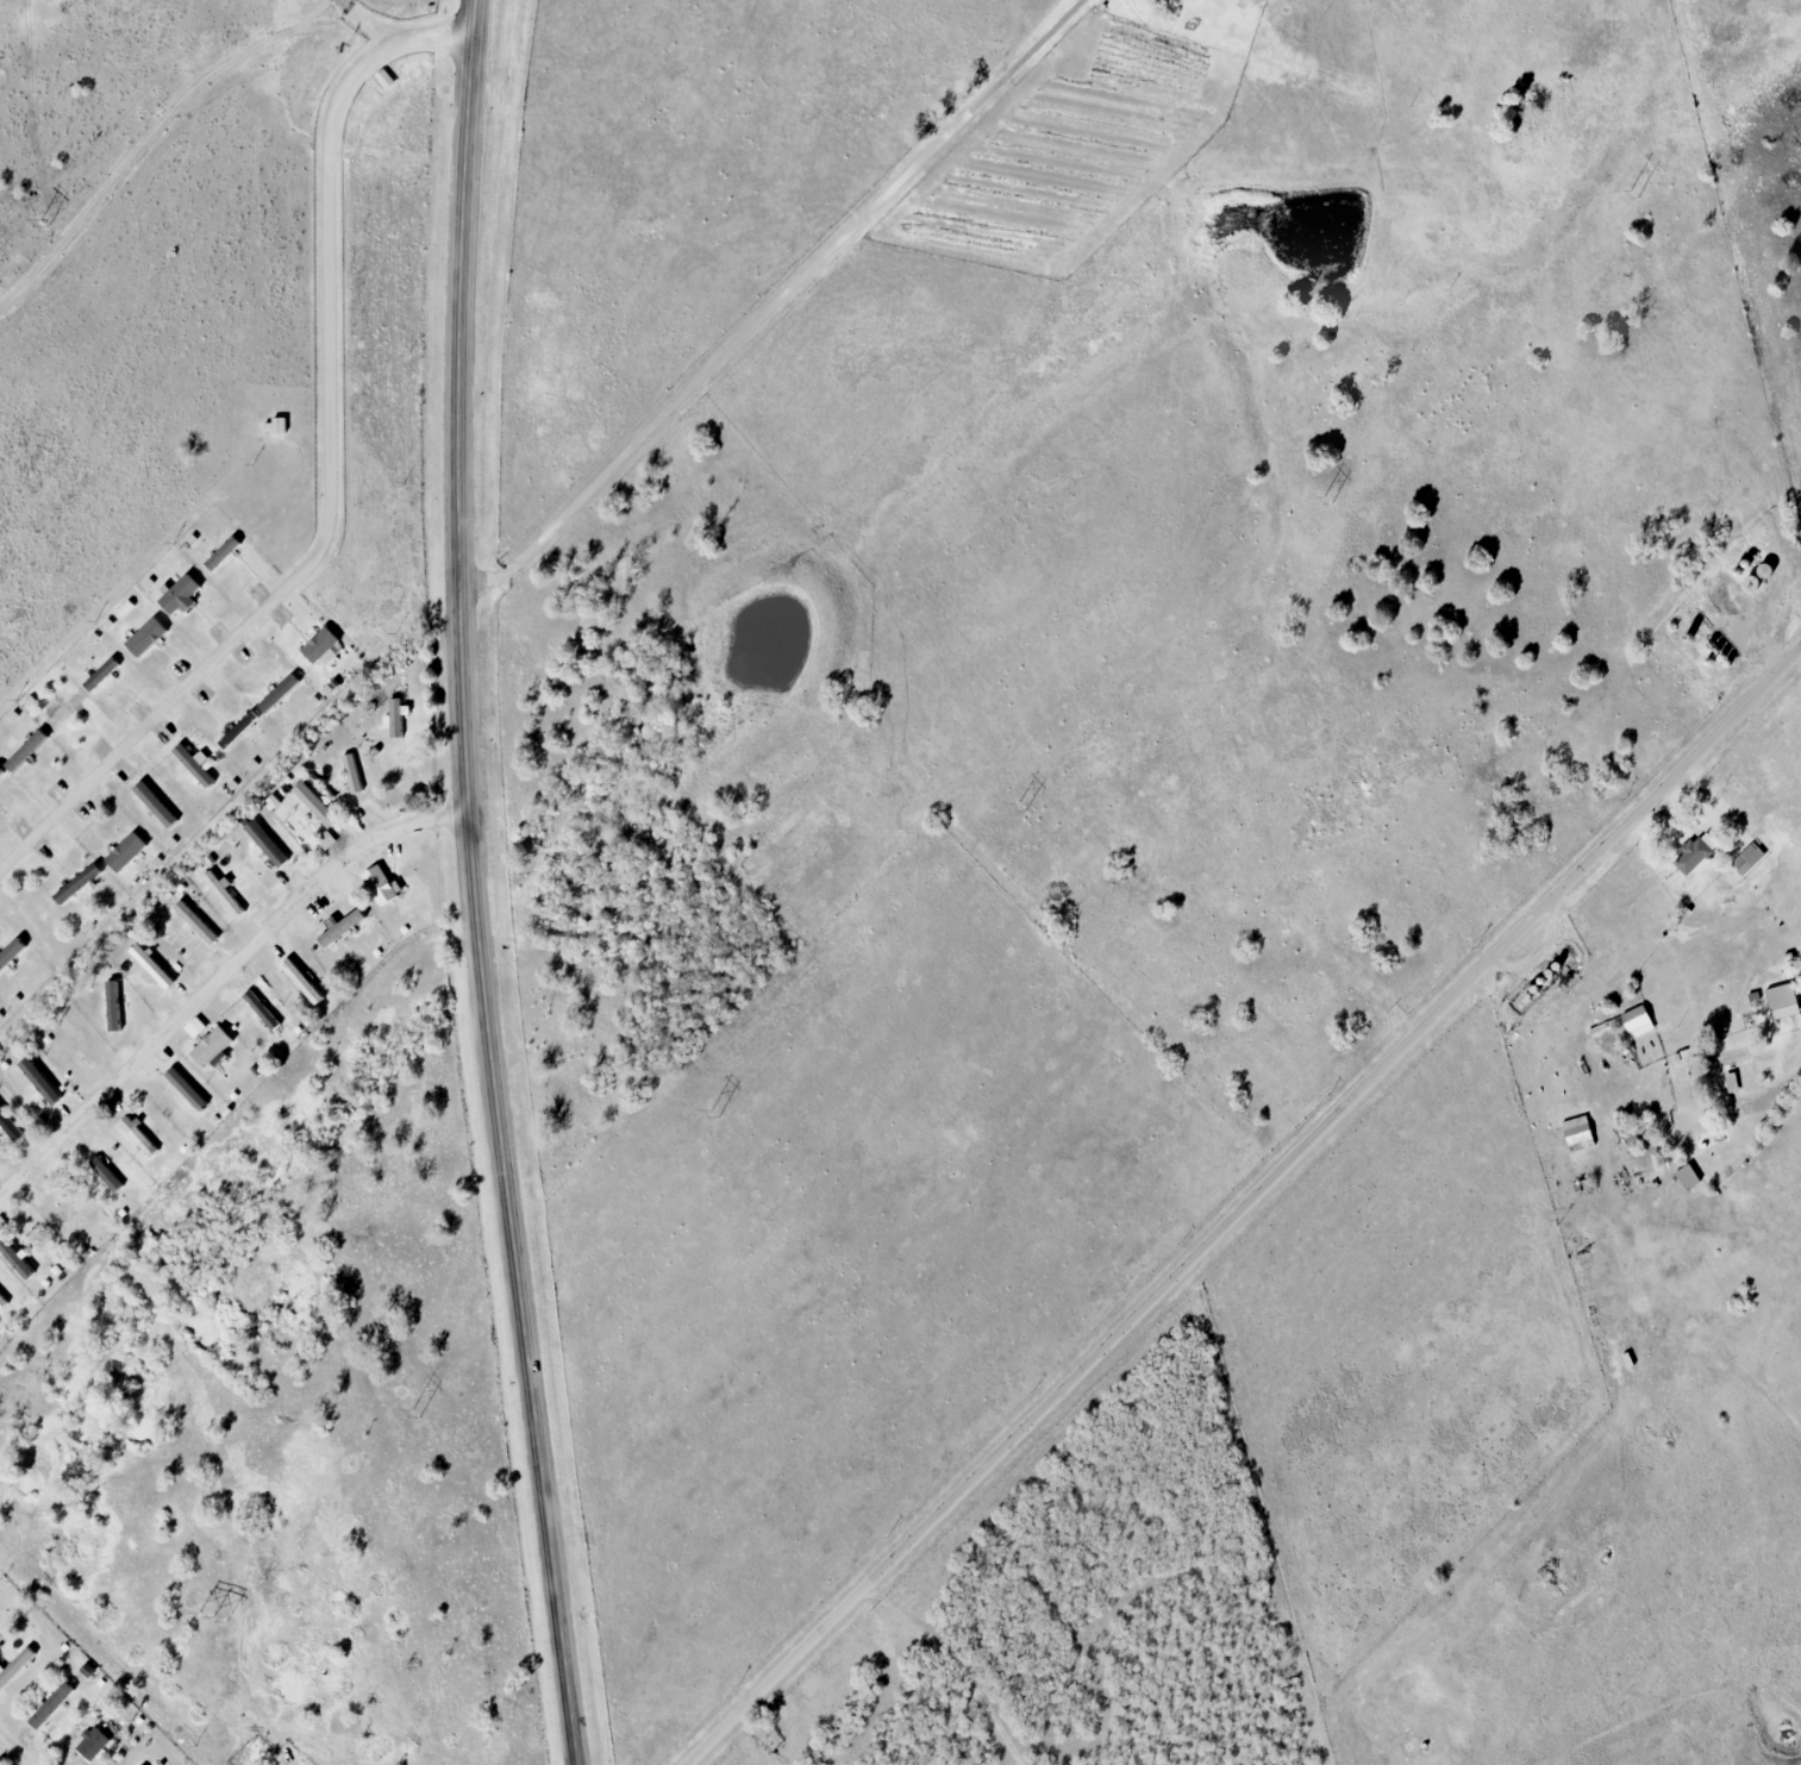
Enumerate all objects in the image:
road: (400, 33)
power tower: (1632, 194)
power tower: (43, 224)
road: (776, 303)
power tower: (1325, 500)
building: (1756, 583)
road: (1743, 614)
building: (396, 719)
building: (354, 774)
building: (318, 806)
power tower: (1019, 806)
road: (1676, 814)
building: (280, 839)
building: (1697, 853)
building: (1750, 859)
road: (474, 884)
building: (382, 885)
building: (226, 895)
building: (321, 905)
building: (199, 922)
building: (346, 924)
building: (156, 966)
road: (221, 976)
building: (305, 982)
building: (1786, 1001)
building: (111, 1002)
building: (263, 1009)
building: (1640, 1021)
building: (199, 1027)
building: (82, 1046)
building: (215, 1047)
building: (1738, 1065)
building: (44, 1085)
building: (189, 1090)
power tower: (712, 1114)
building: (11, 1126)
building: (1581, 1134)
building: (140, 1138)
building: (1716, 1139)
building: (107, 1173)
building: (1691, 1177)
road: (1244, 1208)
building: (76, 1213)
road: (1614, 1220)
building: (18, 1260)
building: (4, 1301)
power tower: (414, 1412)
power tower: (212, 1615)
building: (17, 1667)
building: (54, 1705)
building: (99, 1741)
road: (18, 1746)

